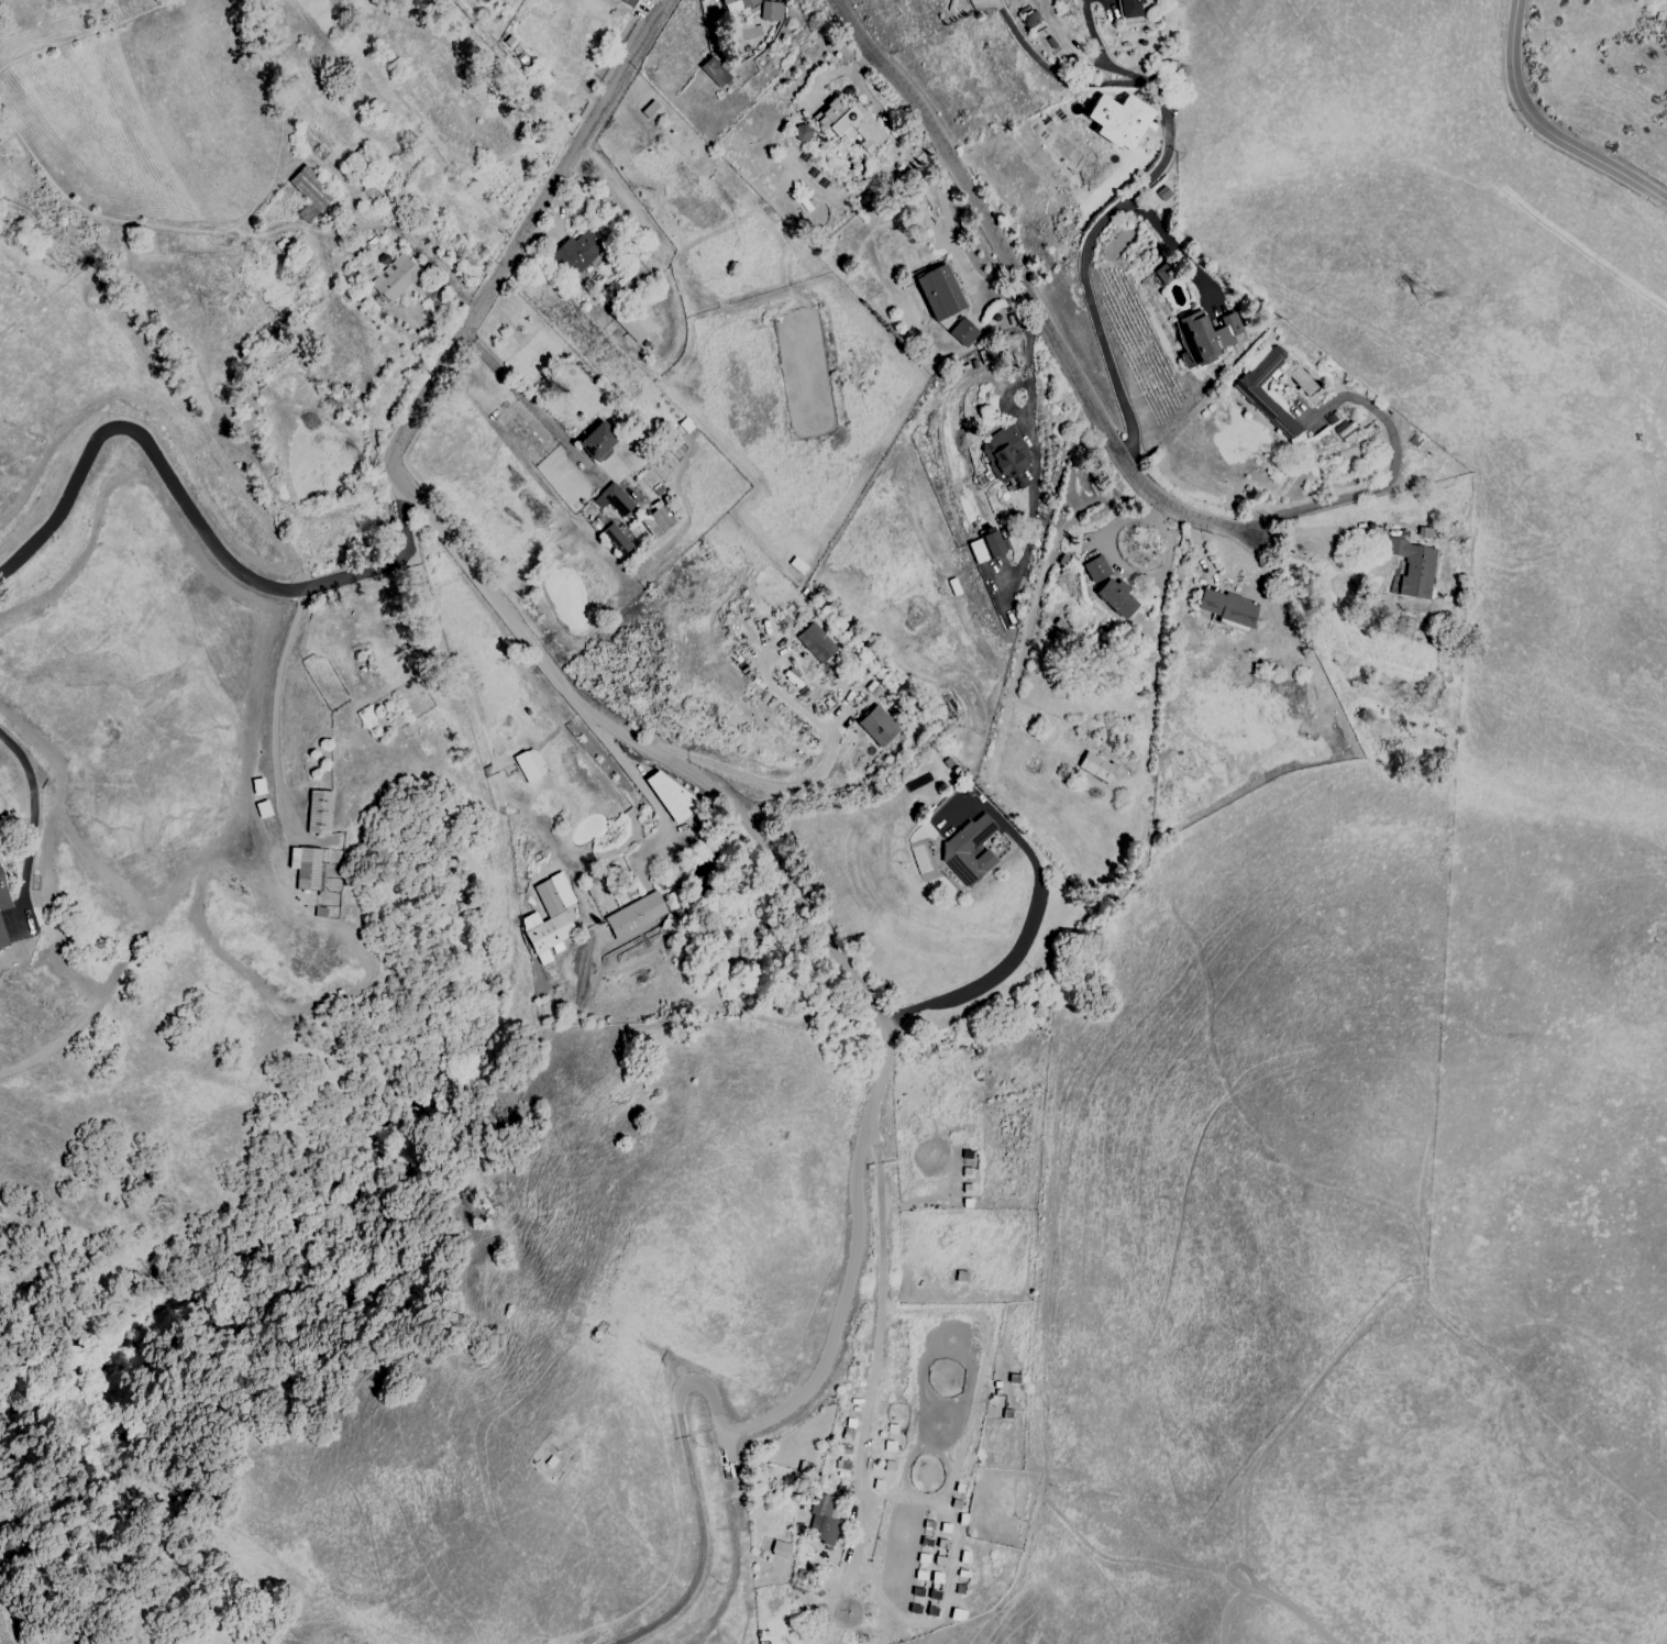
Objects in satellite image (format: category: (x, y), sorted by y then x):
building: (728, 1)
building: (629, 2)
building: (749, 2)
building: (1130, 8)
building: (771, 11)
building: (1029, 19)
road: (101, 25)
road: (13, 57)
road: (4, 64)
building: (715, 71)
road: (1060, 73)
building: (649, 109)
building: (1118, 120)
building: (851, 124)
road: (1545, 131)
building: (801, 133)
building: (309, 194)
building: (1162, 194)
road: (251, 212)
road: (1112, 214)
road: (953, 242)
road: (1174, 247)
building: (578, 250)
building: (1160, 275)
building: (397, 278)
building: (940, 293)
road: (1024, 295)
power tower: (1418, 299)
building: (632, 323)
building: (962, 332)
building: (1207, 335)
road: (446, 364)
road: (1008, 400)
building: (1268, 408)
road: (534, 411)
building: (598, 441)
road: (1034, 448)
building: (1007, 456)
road: (45, 460)
road: (1389, 479)
road: (244, 494)
building: (614, 499)
road: (165, 507)
road: (191, 512)
building: (656, 521)
building: (617, 541)
building: (991, 543)
building: (976, 551)
building: (1413, 567)
building: (1094, 569)
building: (1116, 597)
building: (1228, 607)
building: (816, 643)
road: (275, 695)
building: (879, 726)
building: (530, 765)
building: (1096, 766)
road: (760, 783)
road: (641, 788)
building: (669, 795)
building: (318, 813)
road: (31, 819)
road: (59, 821)
building: (969, 850)
building: (307, 868)
building: (3, 895)
road: (156, 915)
building: (637, 915)
building: (549, 918)
building: (3, 936)
road: (1013, 953)
road: (357, 995)
road: (888, 1039)
road: (874, 1365)
road: (1306, 1398)
road: (688, 1476)
building: (826, 1531)
building: (780, 1549)
road: (1124, 1560)
road: (1228, 1569)
road: (1012, 1589)
road: (1301, 1614)

